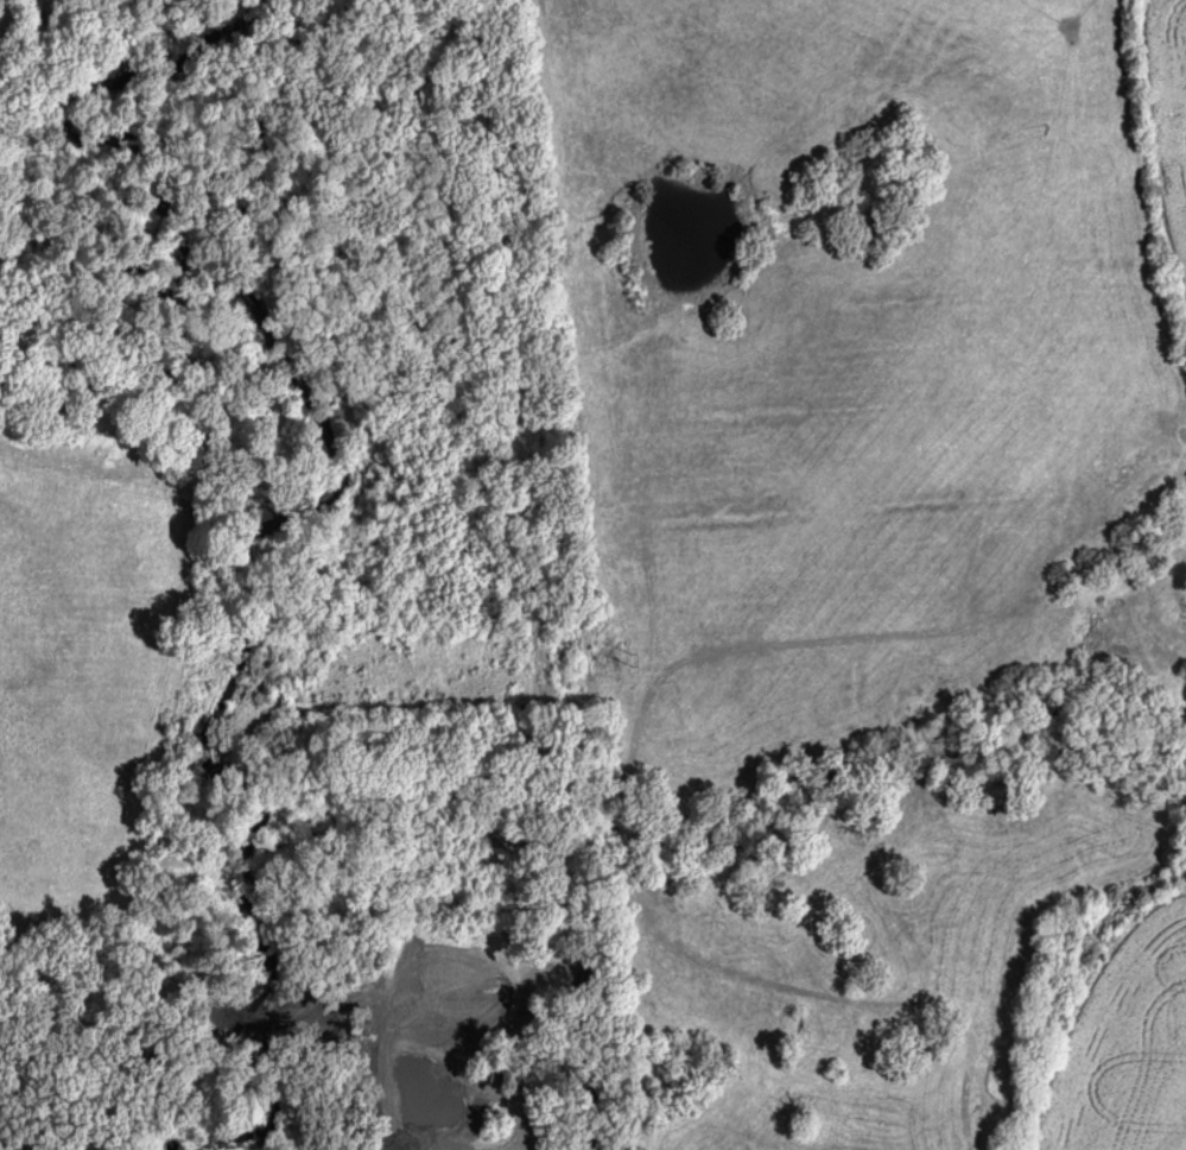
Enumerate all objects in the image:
power tower: (635, 659)

